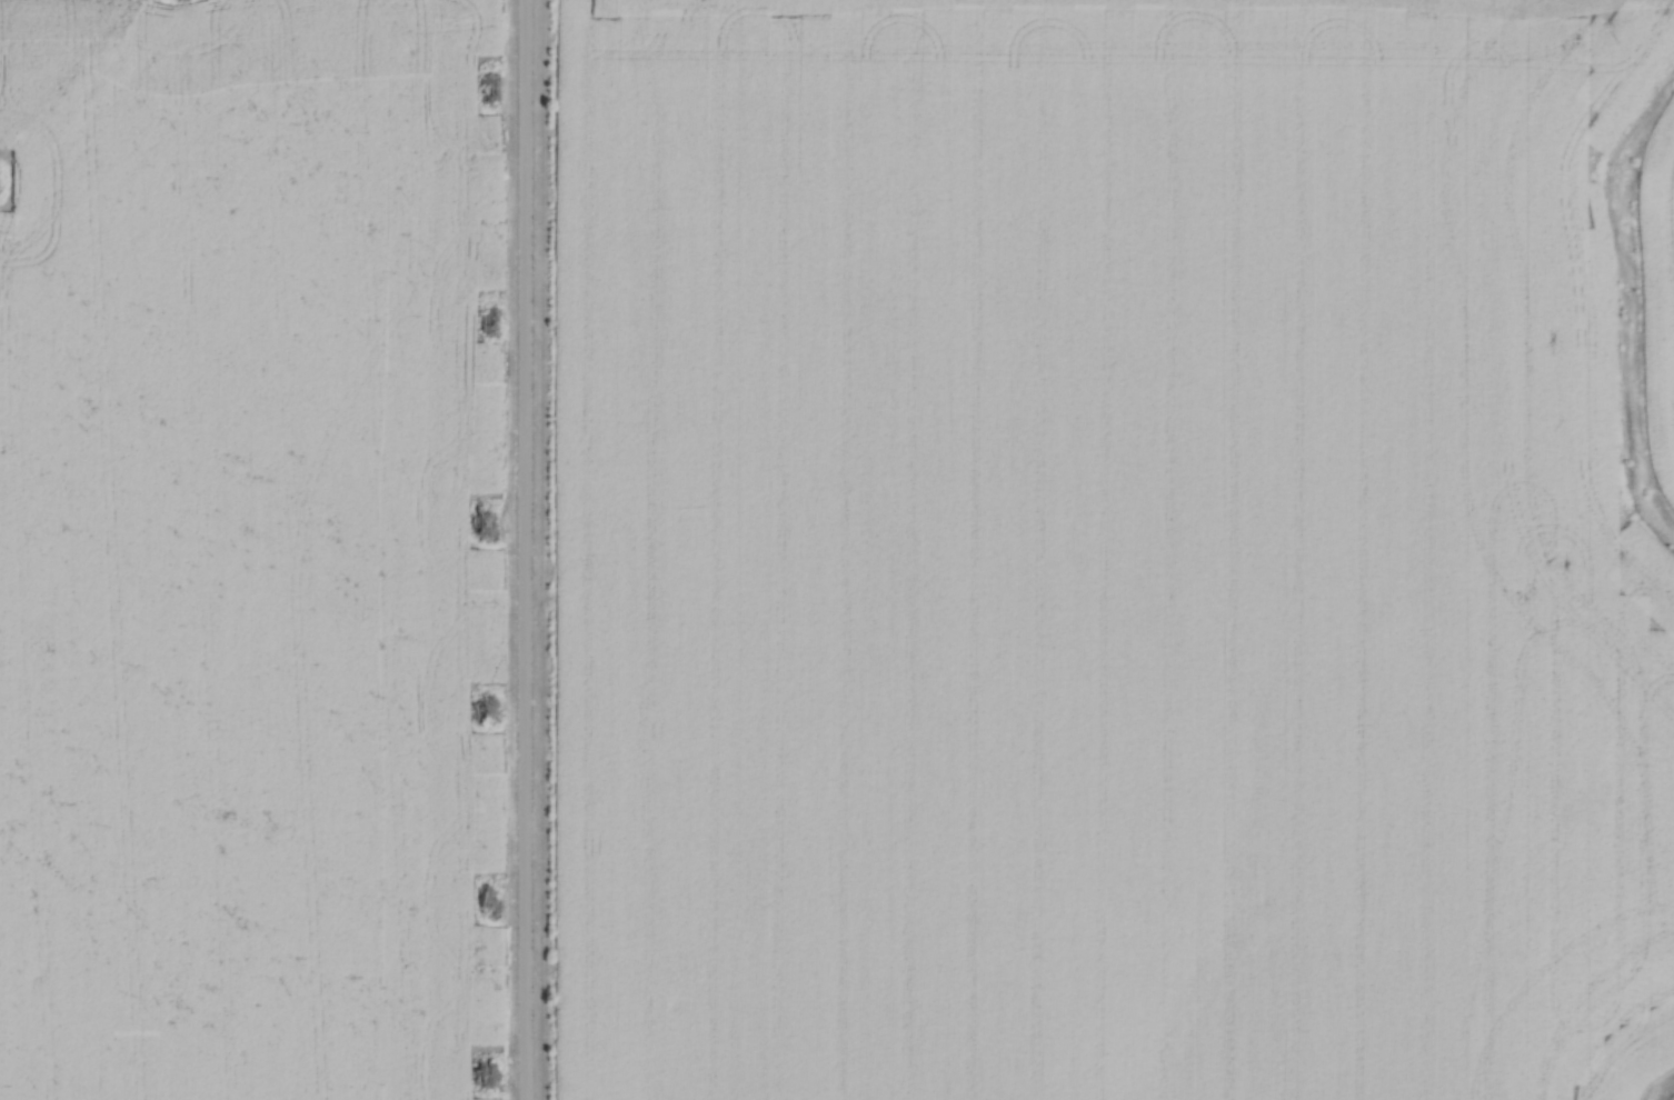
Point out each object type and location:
road: (522, 550)

